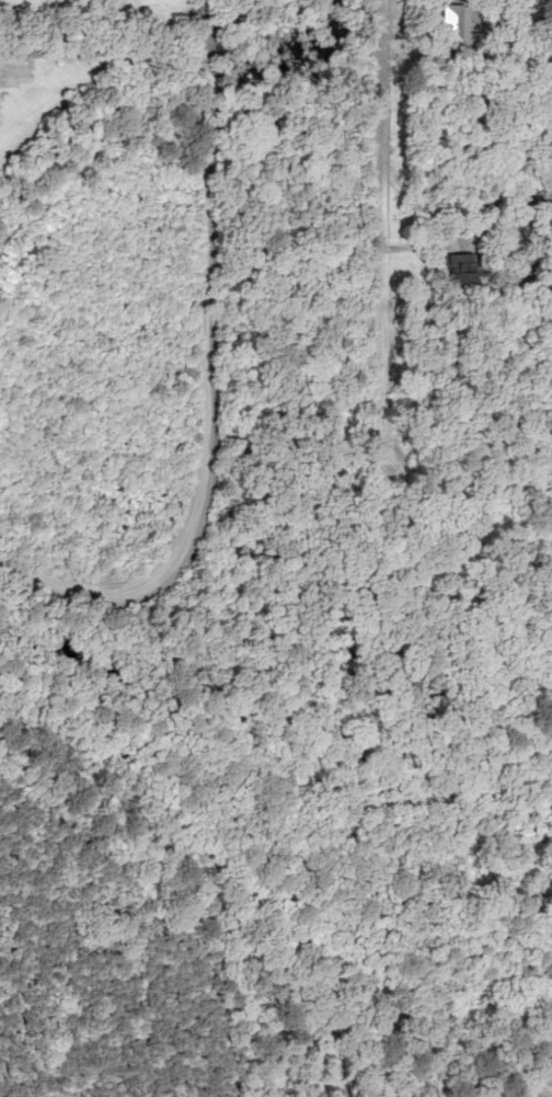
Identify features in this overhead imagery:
road: (376, 148)
building: (442, 272)
road: (203, 379)

